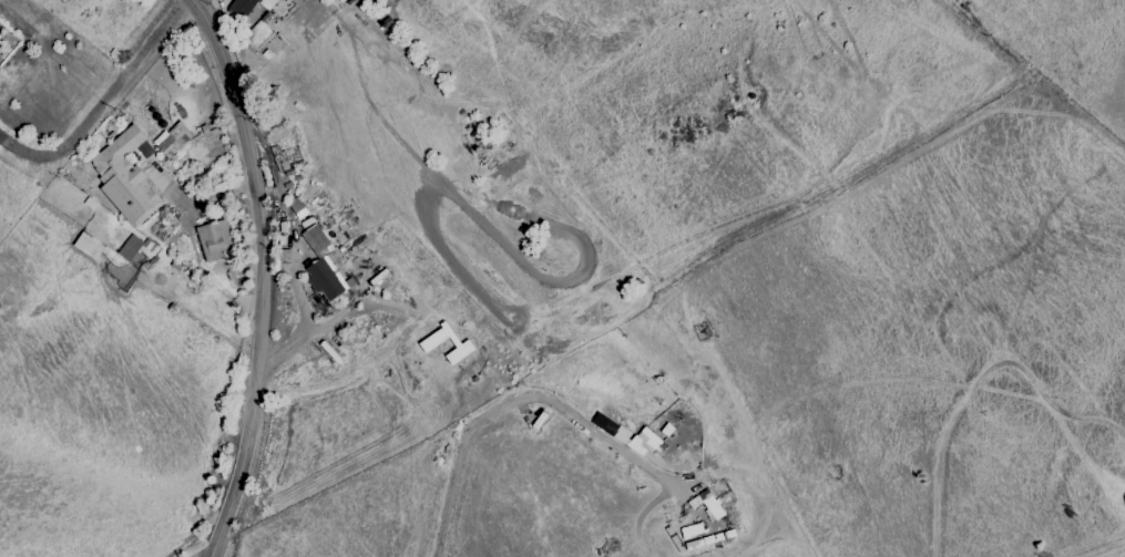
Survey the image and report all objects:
road: (193, 0)
building: (248, 7)
road: (105, 104)
building: (172, 140)
building: (125, 178)
building: (315, 239)
building: (214, 240)
building: (130, 249)
road: (259, 275)
building: (325, 279)
building: (463, 345)
road: (520, 399)
road: (227, 550)

